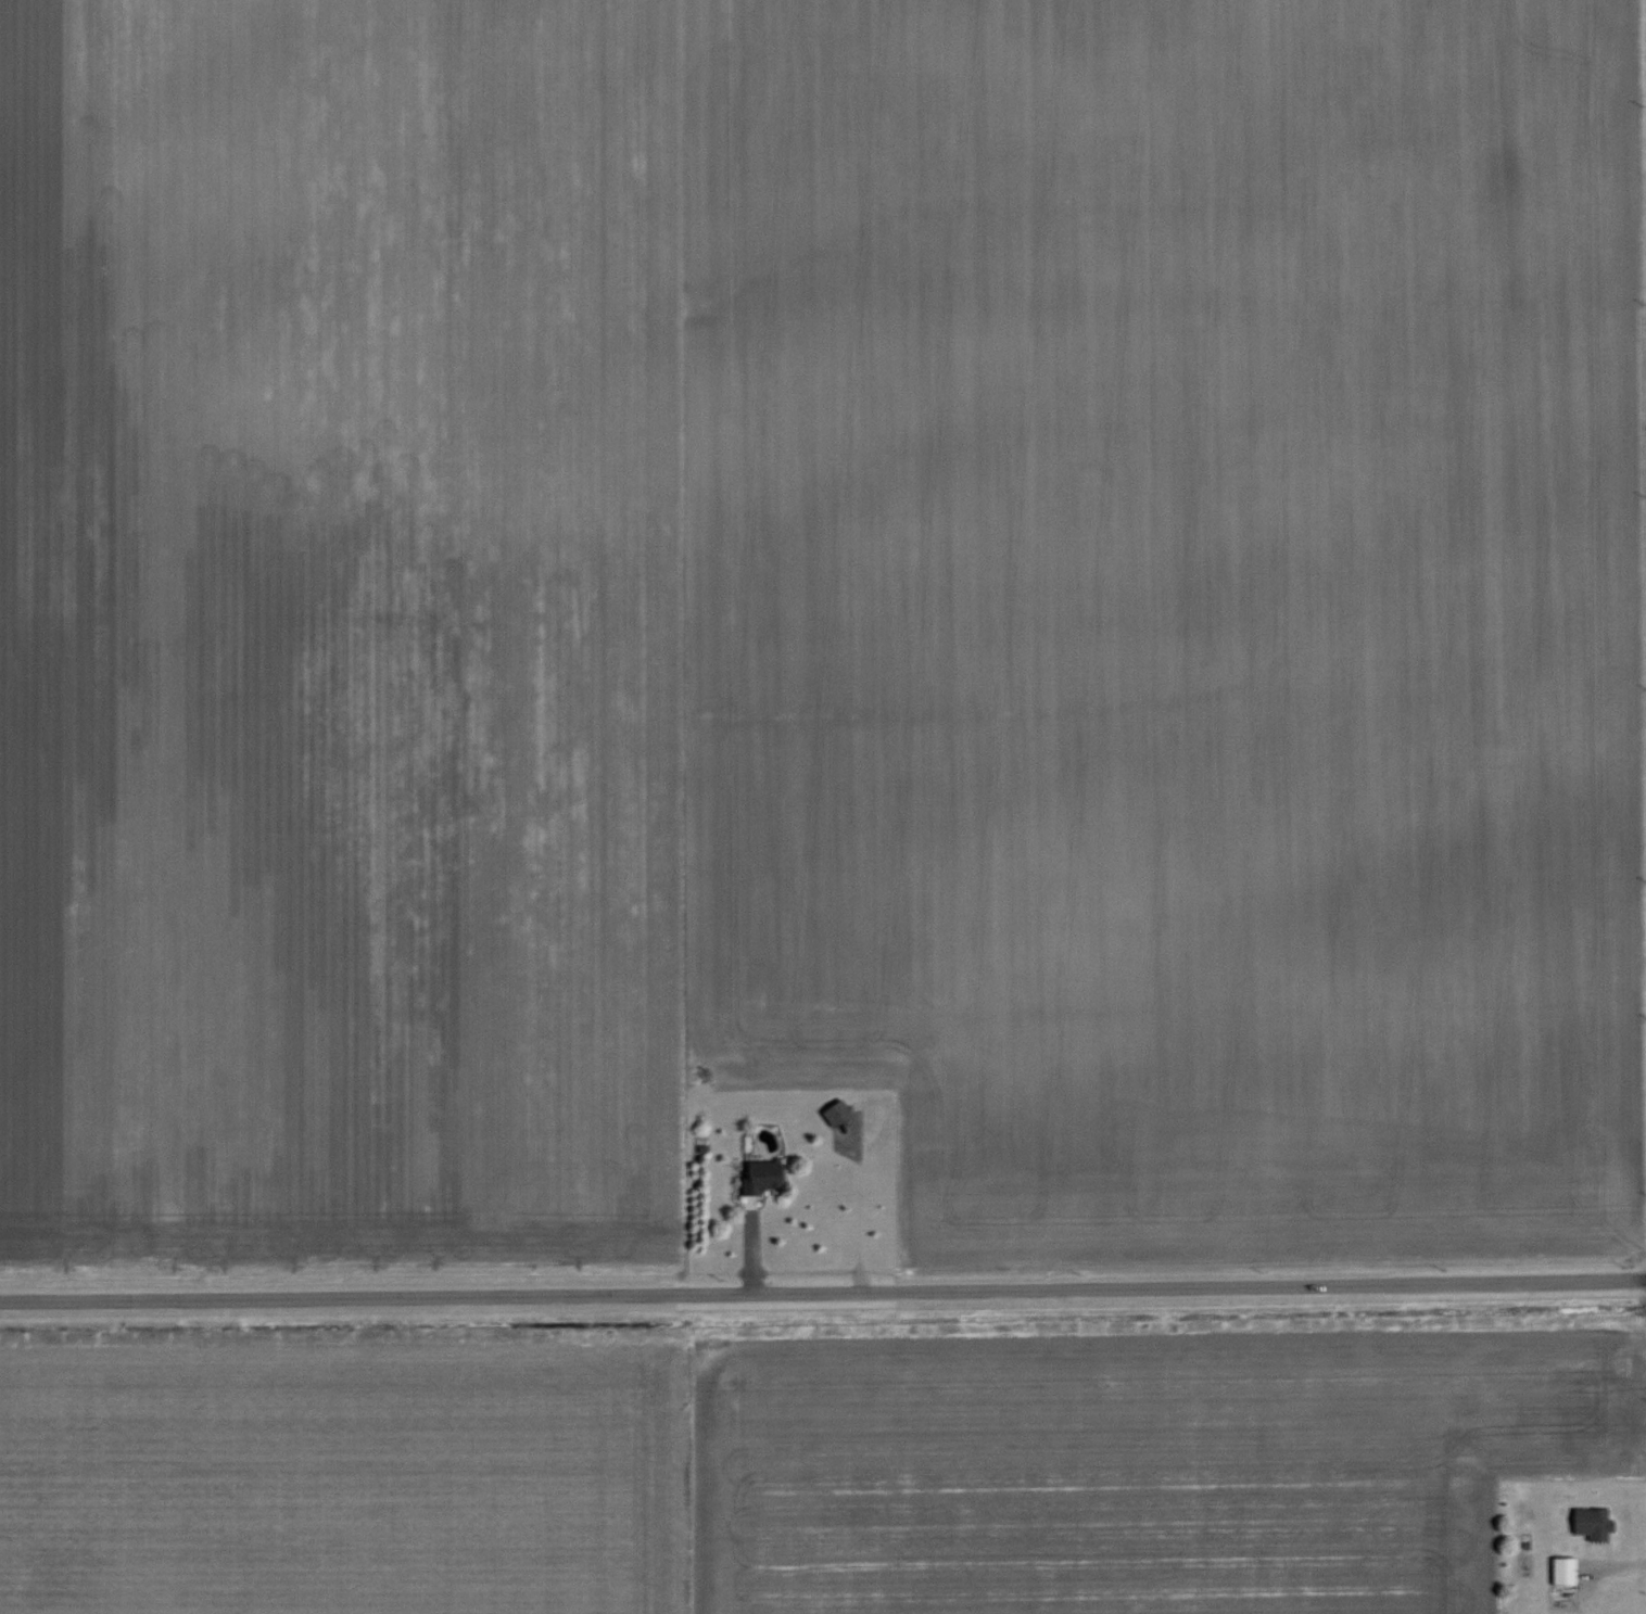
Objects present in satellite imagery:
road: (823, 1287)
building: (1557, 1567)

